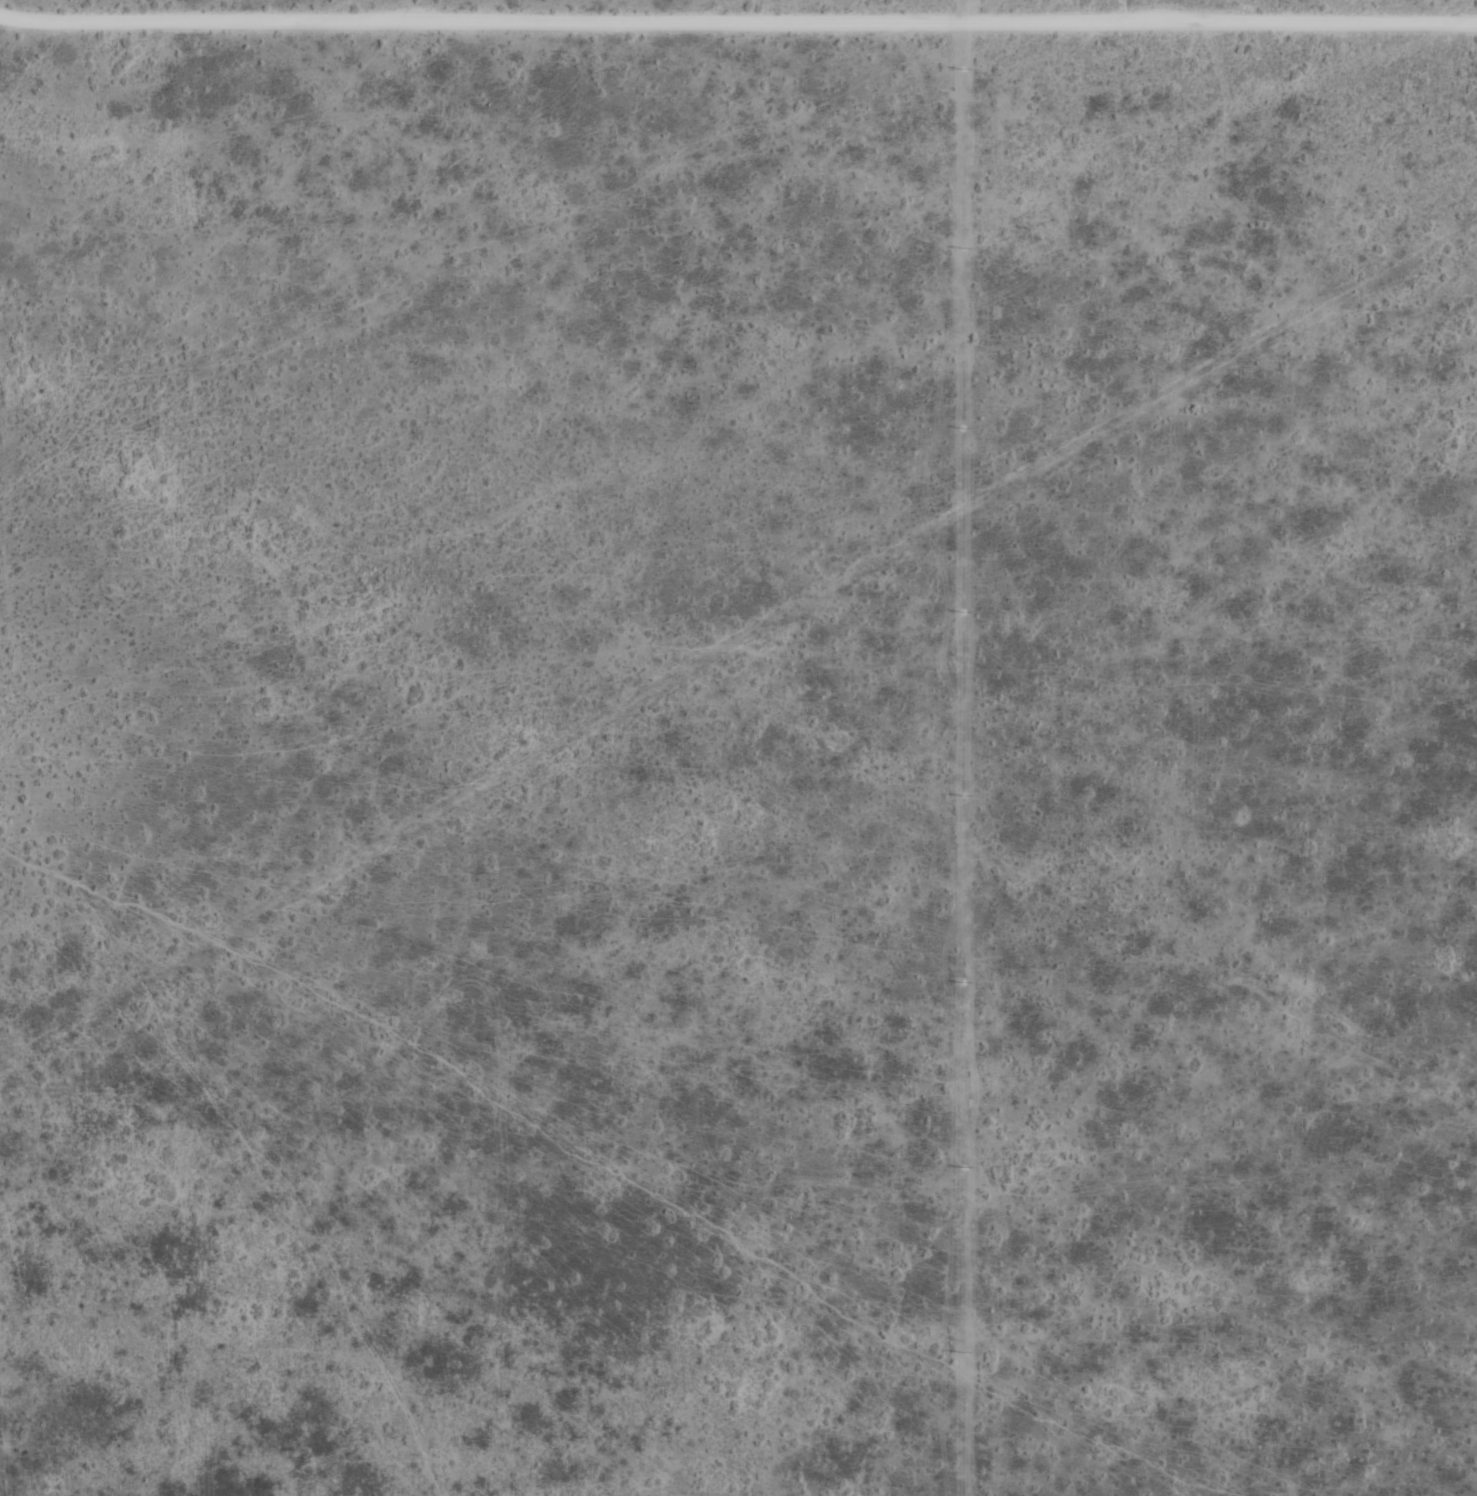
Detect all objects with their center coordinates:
road: (737, 14)

